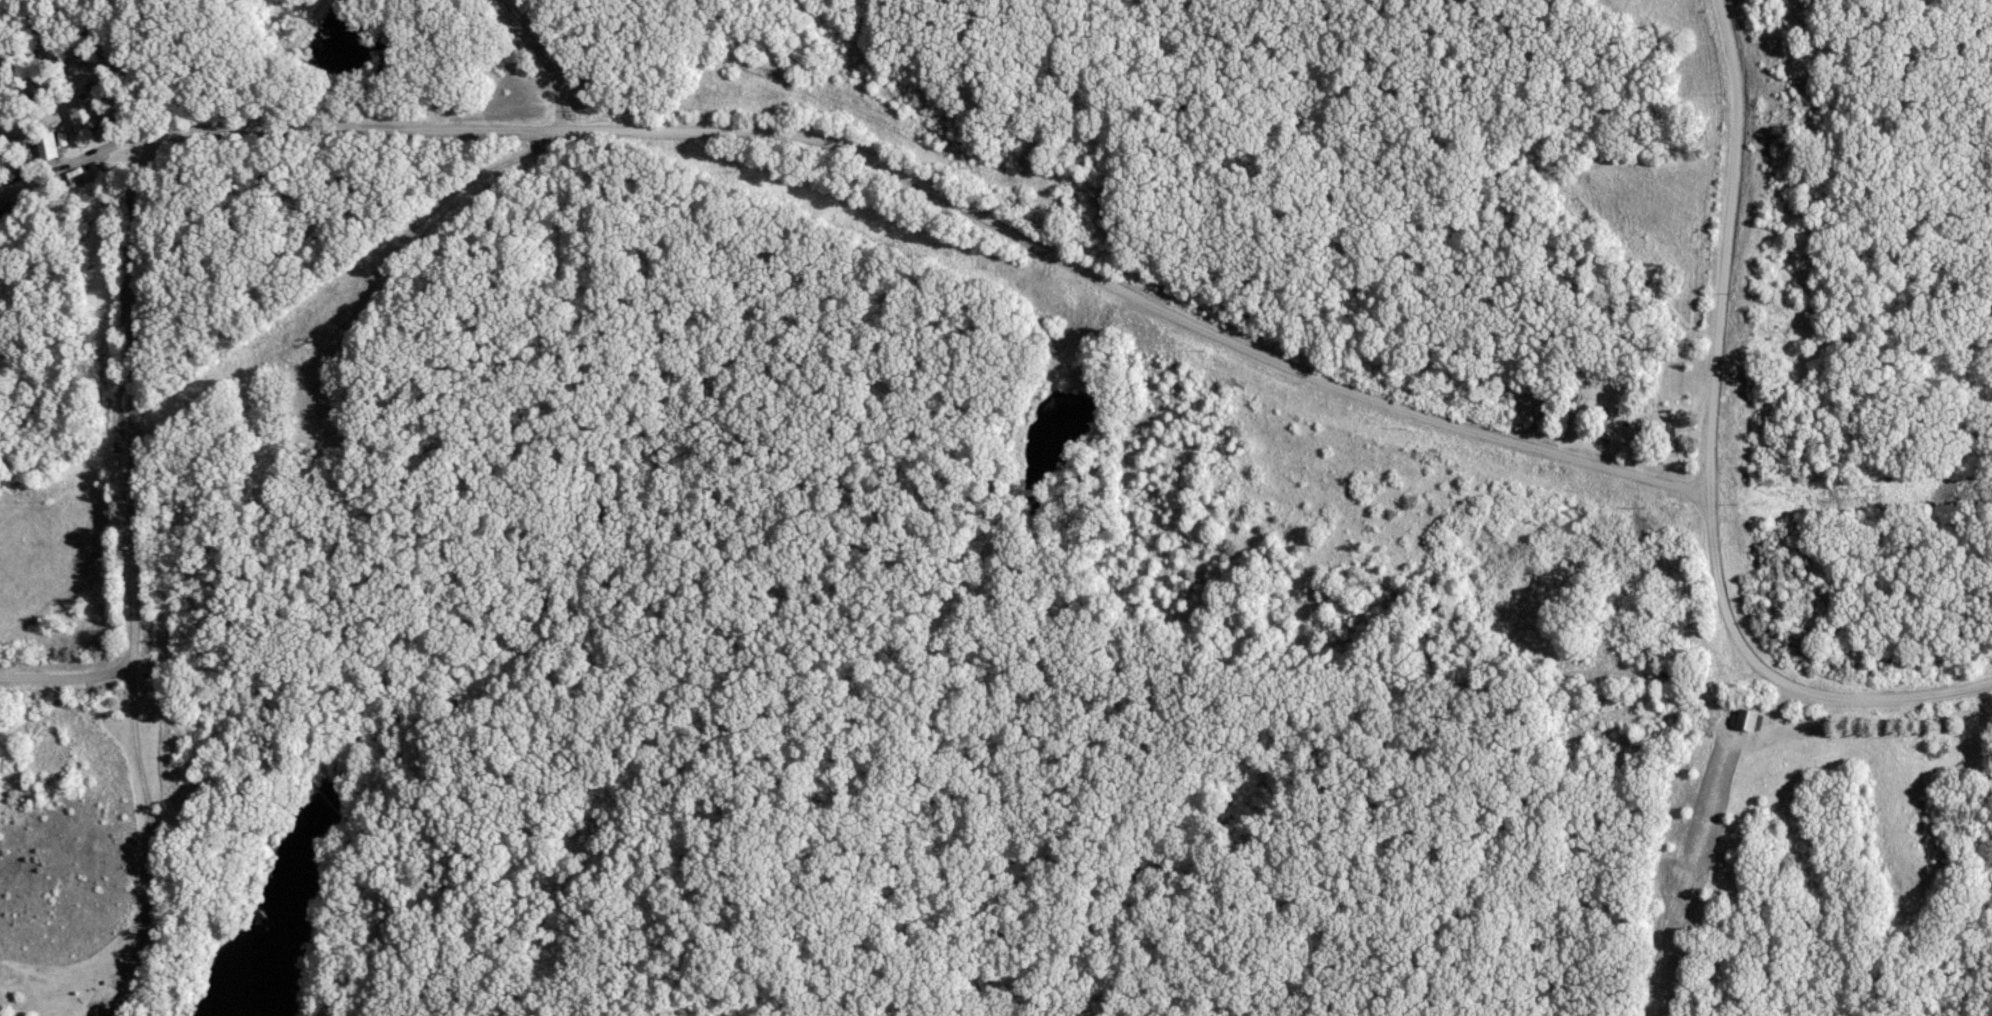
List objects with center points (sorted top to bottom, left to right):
road: (554, 63)
road: (626, 131)
road: (1703, 464)
building: (1746, 720)
road: (151, 834)
building: (90, 1015)

